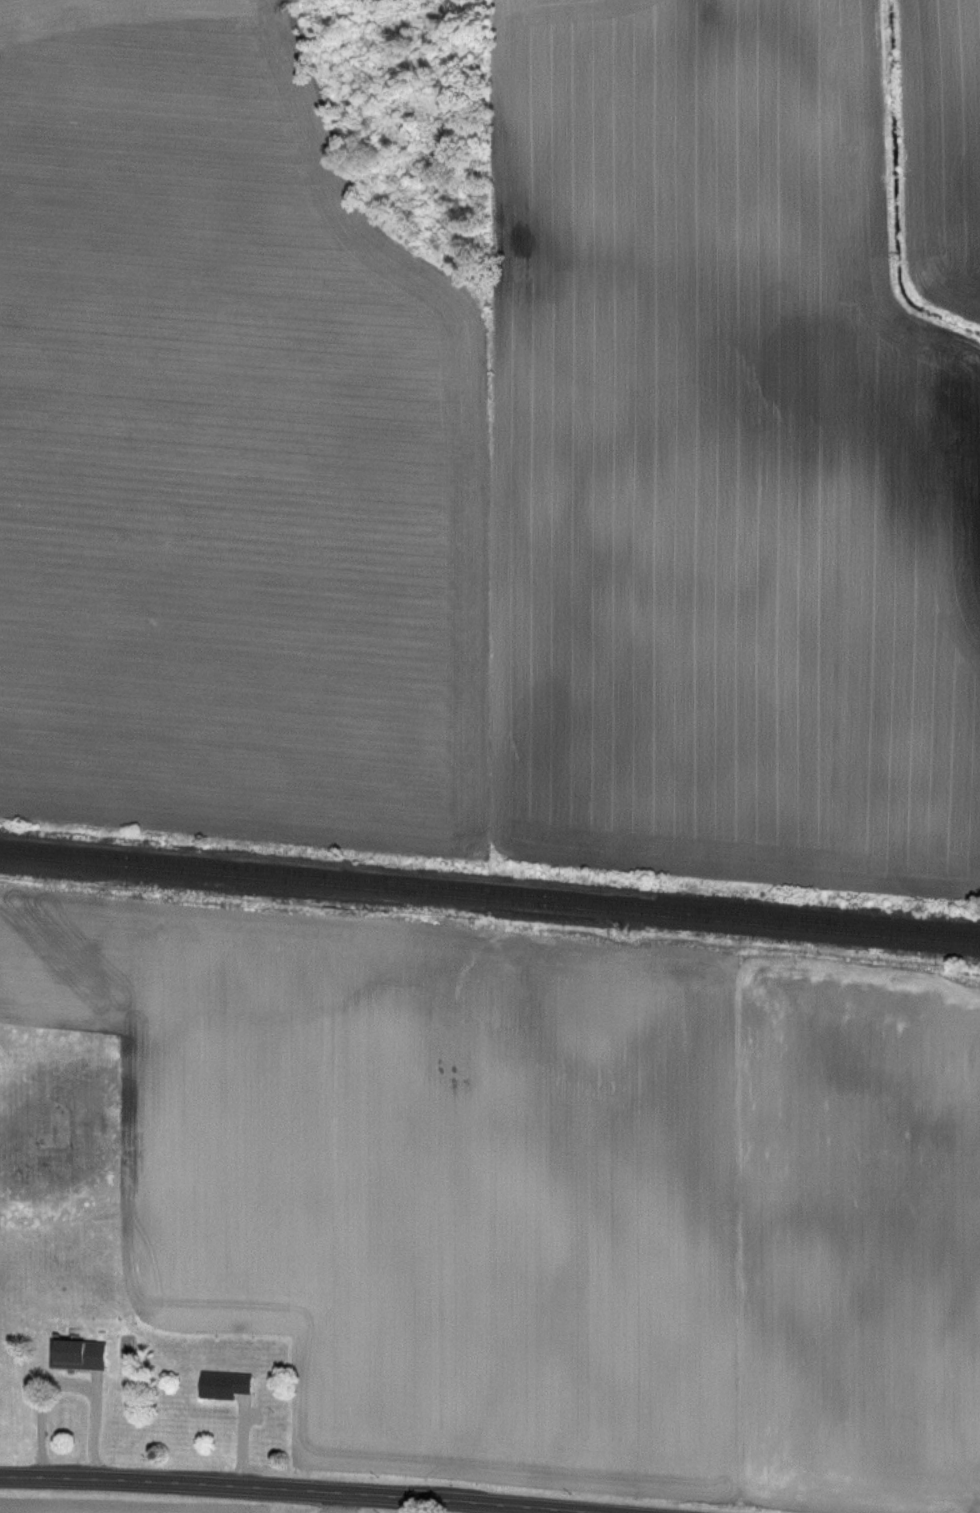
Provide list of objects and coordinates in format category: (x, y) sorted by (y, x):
railway: (490, 887)
railway: (490, 897)
building: (73, 1355)
road: (63, 1384)
building: (221, 1385)
road: (279, 1489)
road: (339, 1503)

